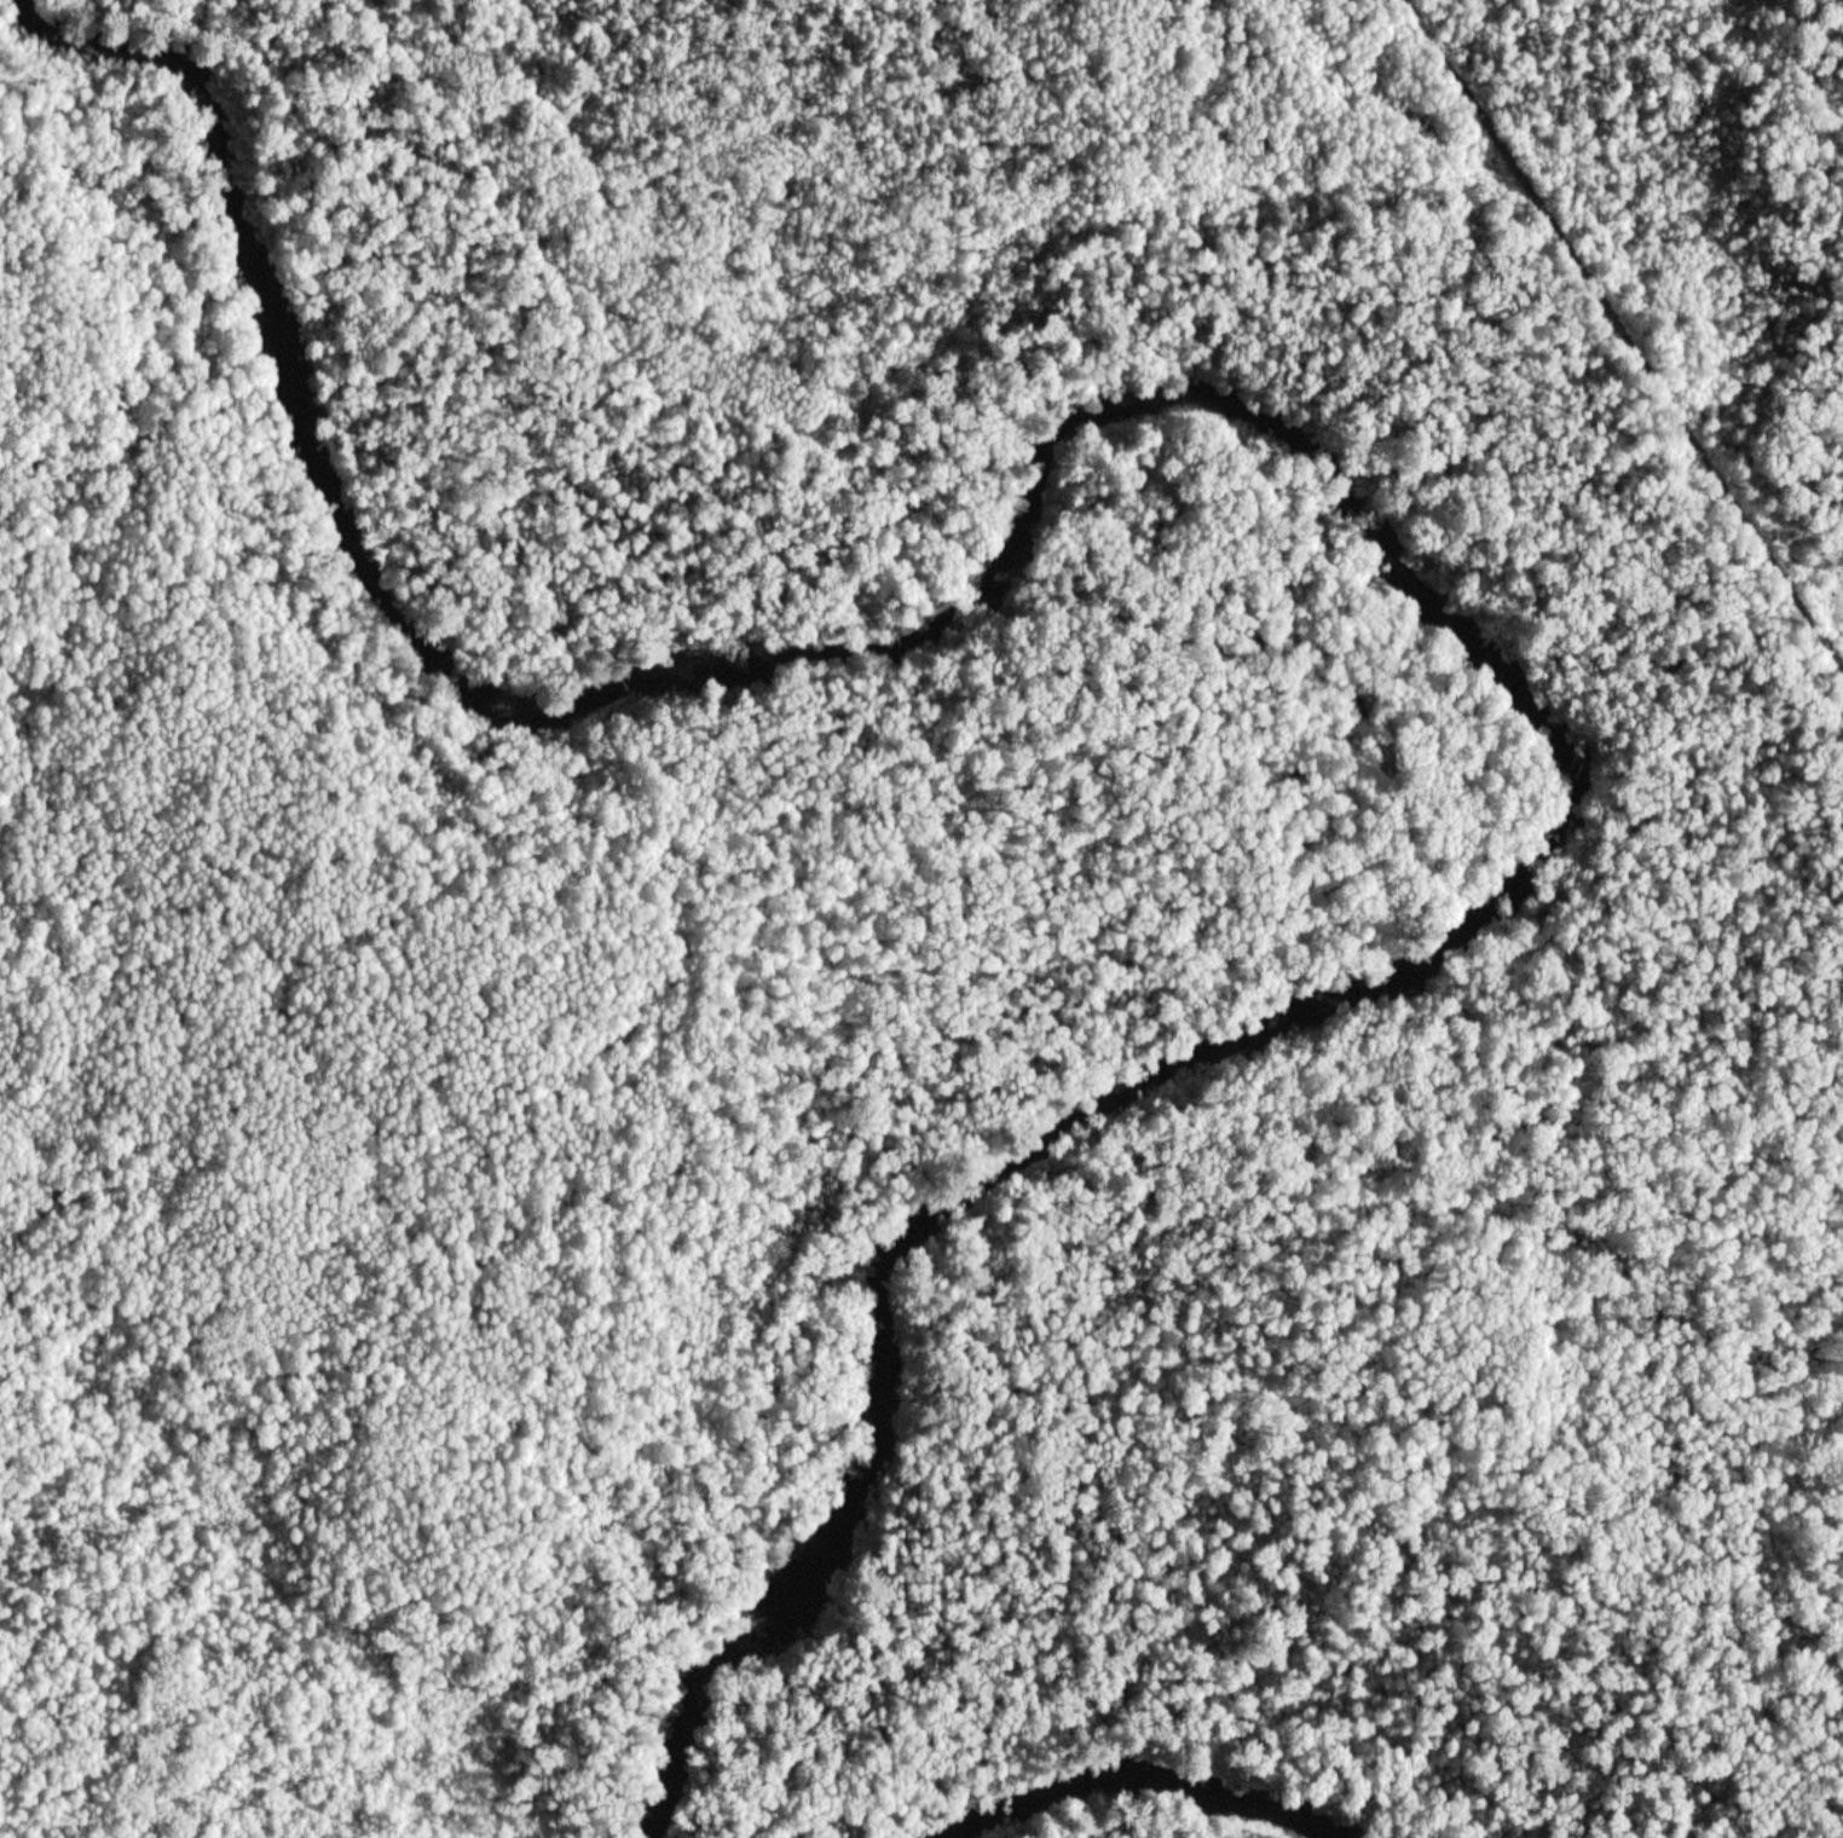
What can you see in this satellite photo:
river: (1318, 482)
river: (1140, 1819)

